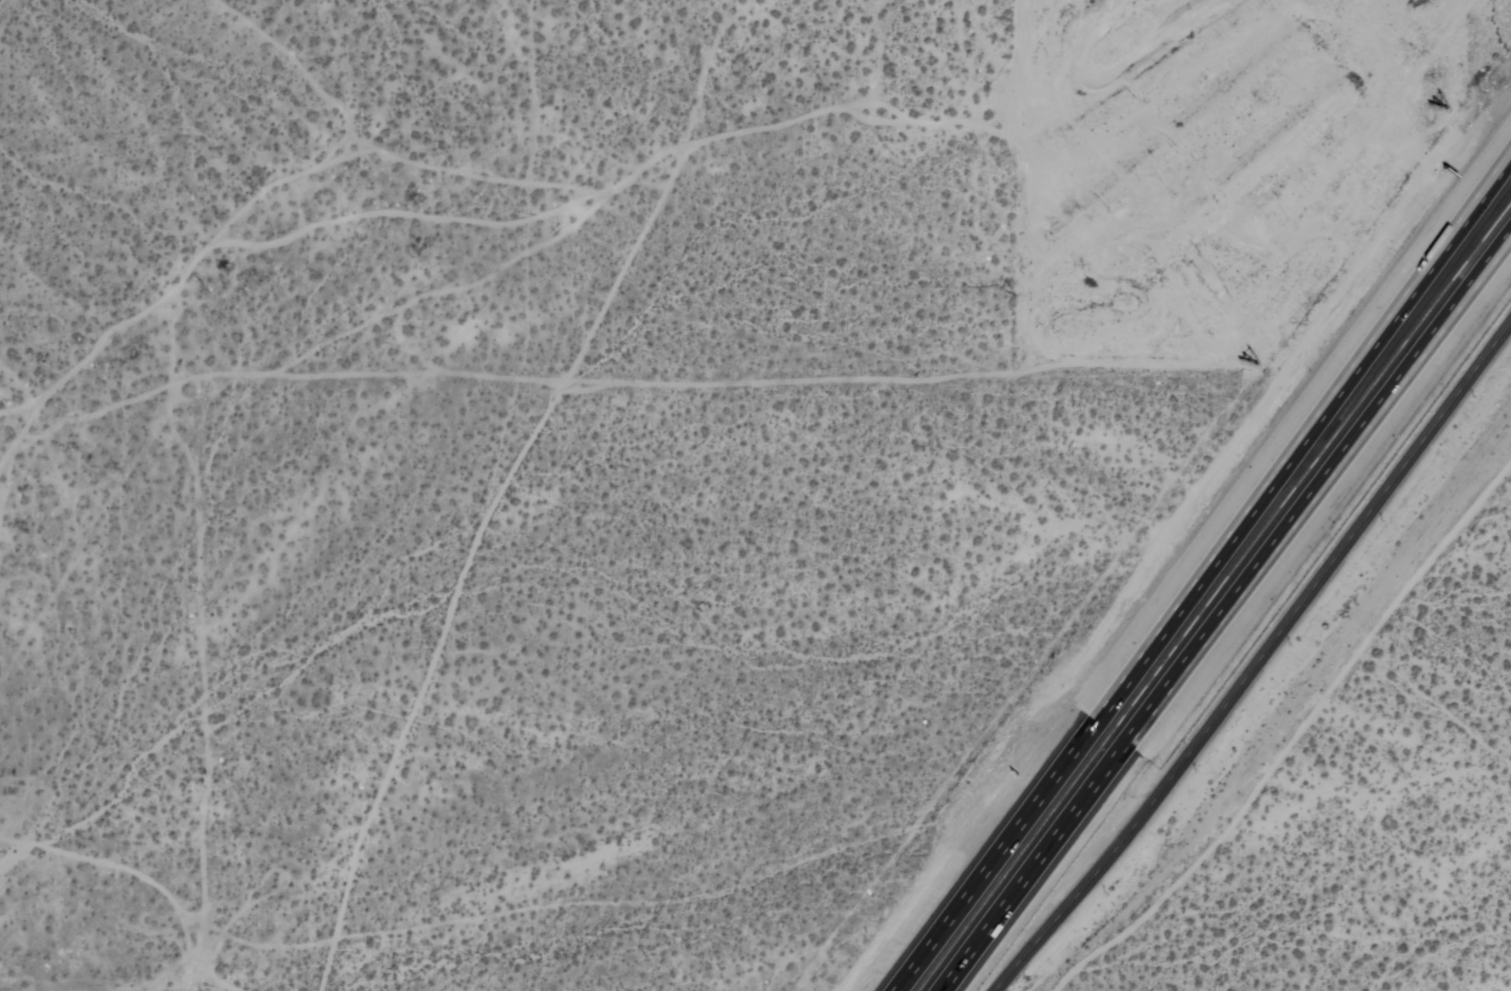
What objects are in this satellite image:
road: (1204, 578)
railway: (1215, 594)
road: (1225, 605)
road: (1253, 653)

